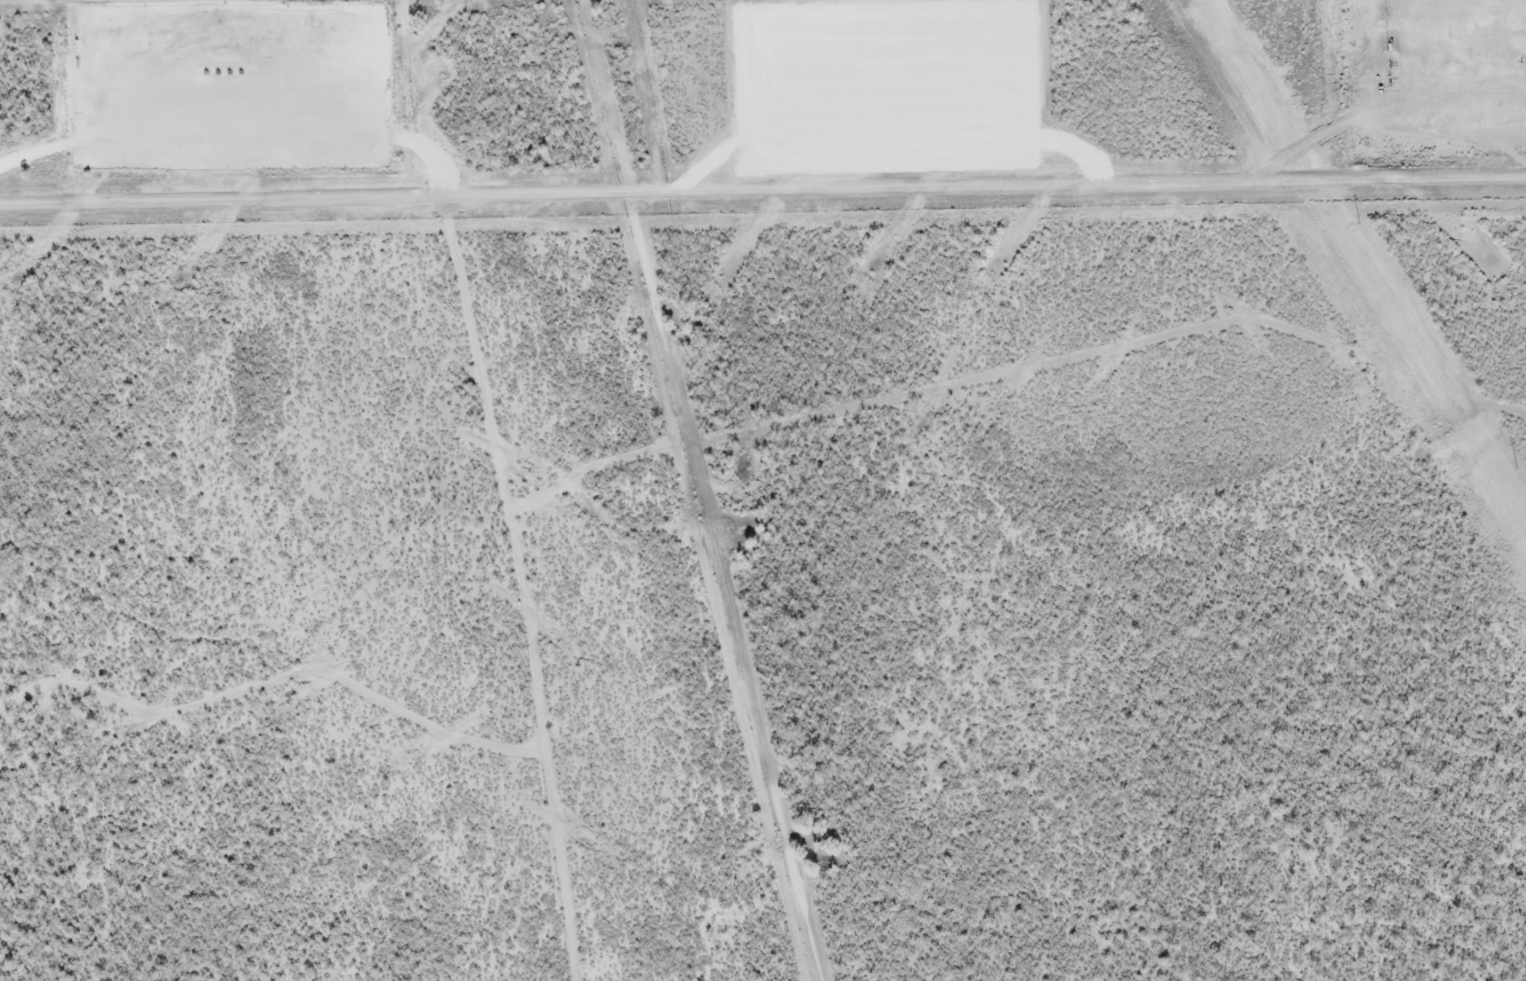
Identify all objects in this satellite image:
power tower: (1357, 223)
power tower: (1515, 469)

